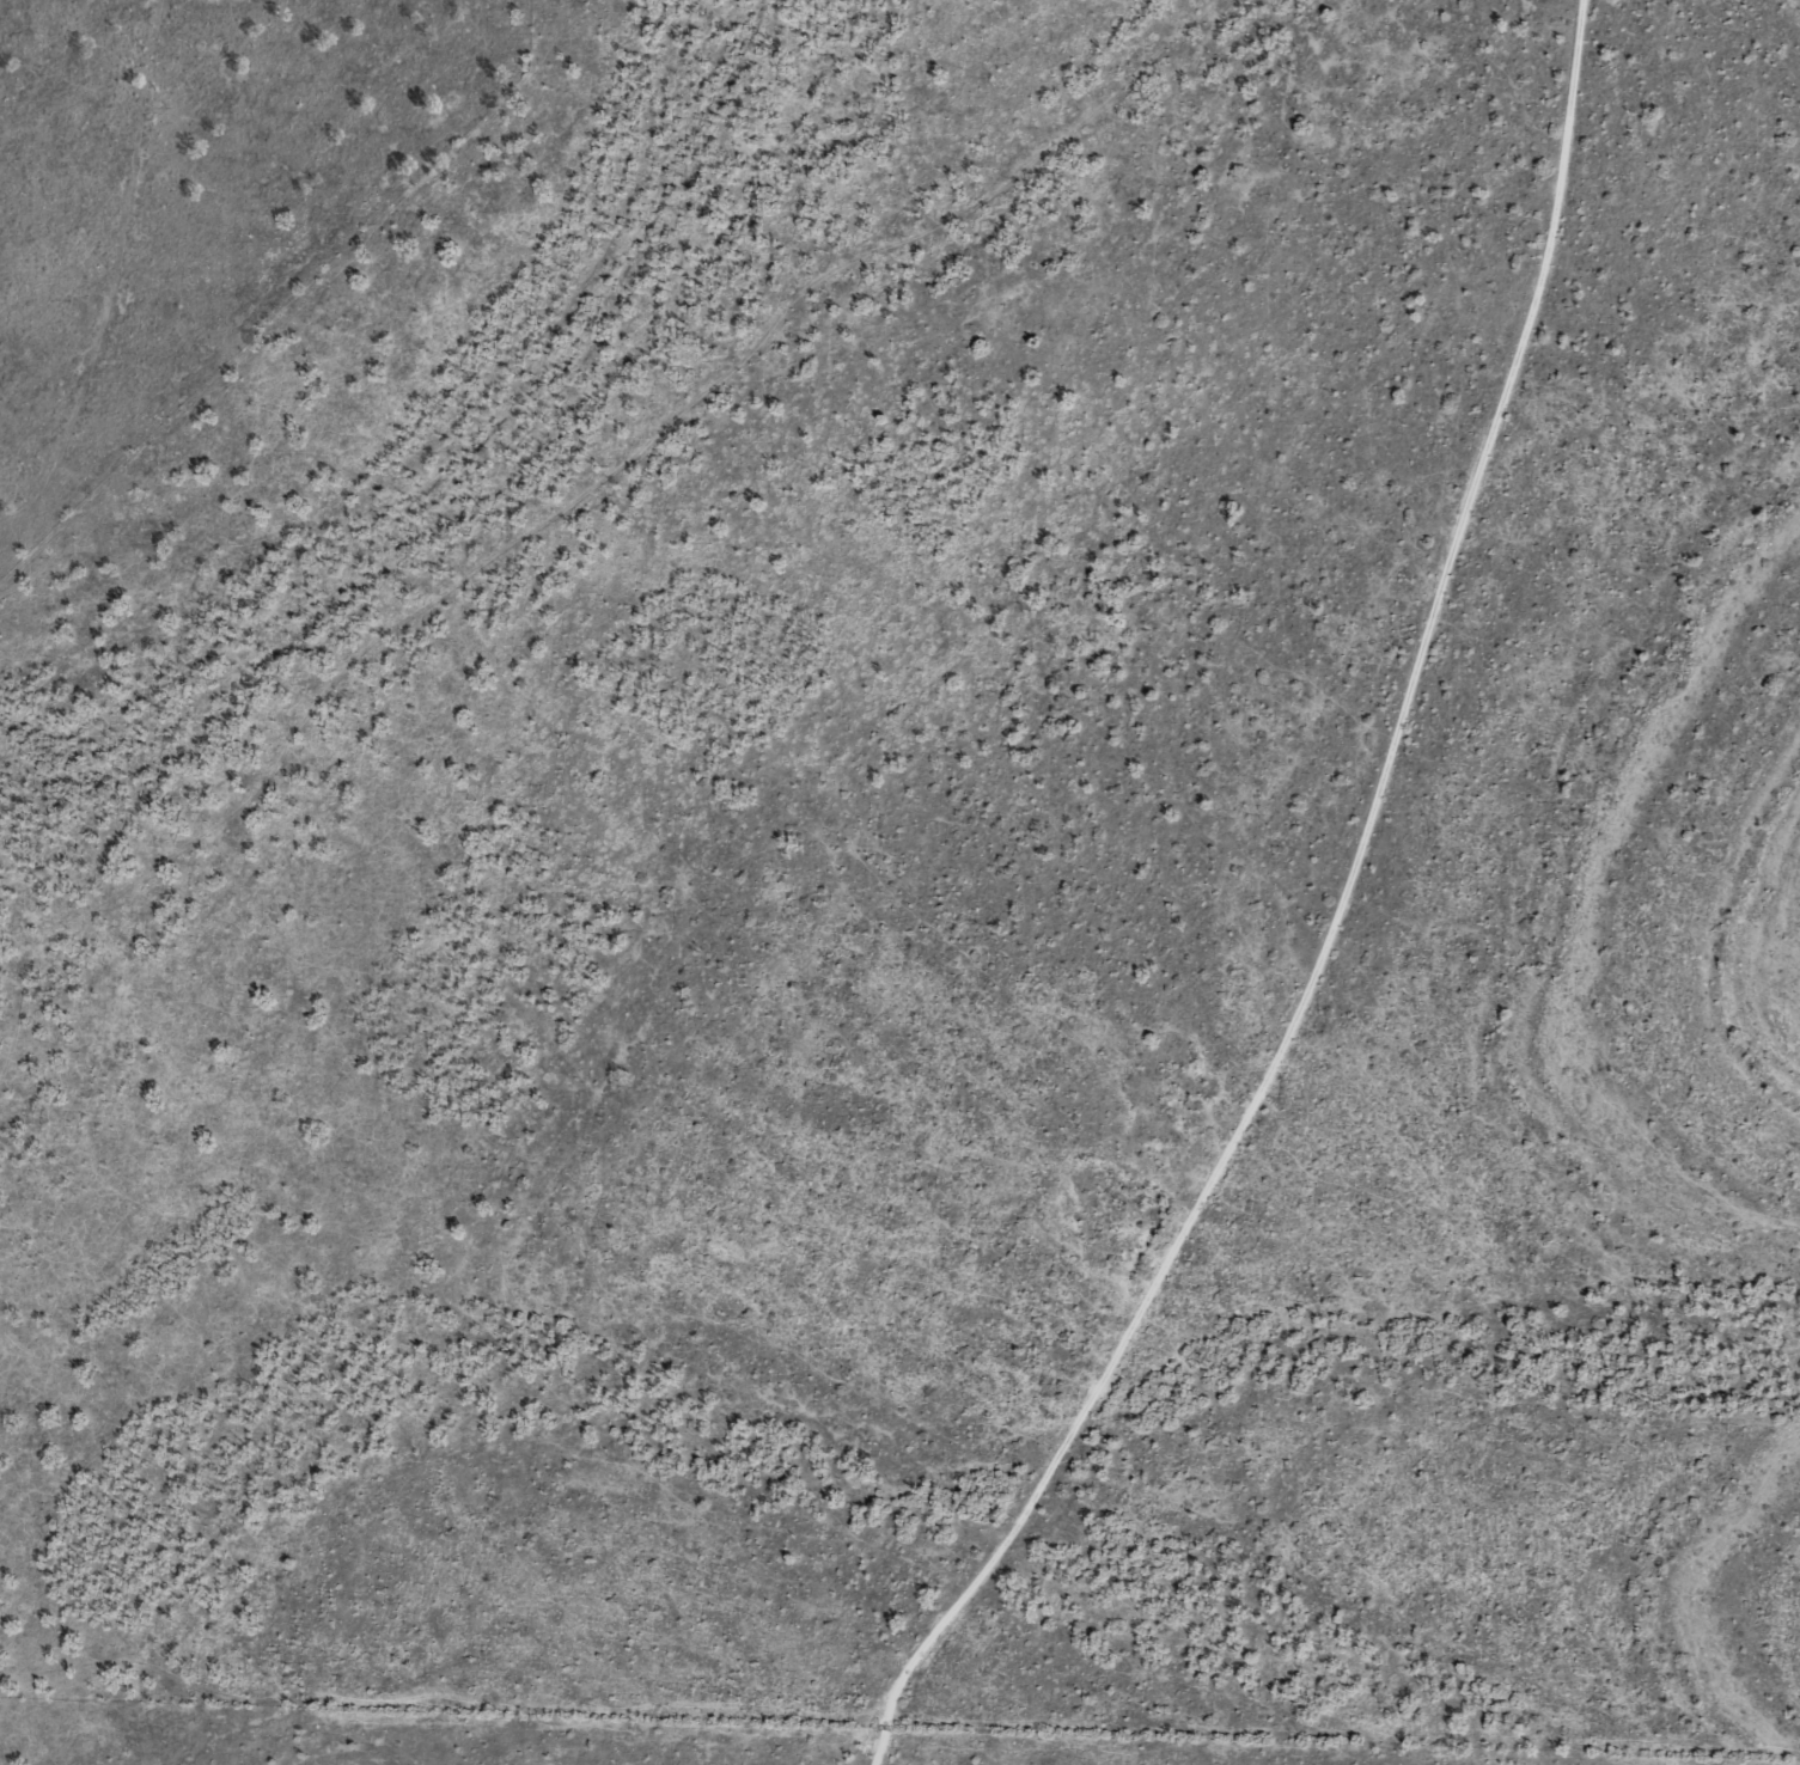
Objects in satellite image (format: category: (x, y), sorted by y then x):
road: (135, 298)
road: (1340, 904)

